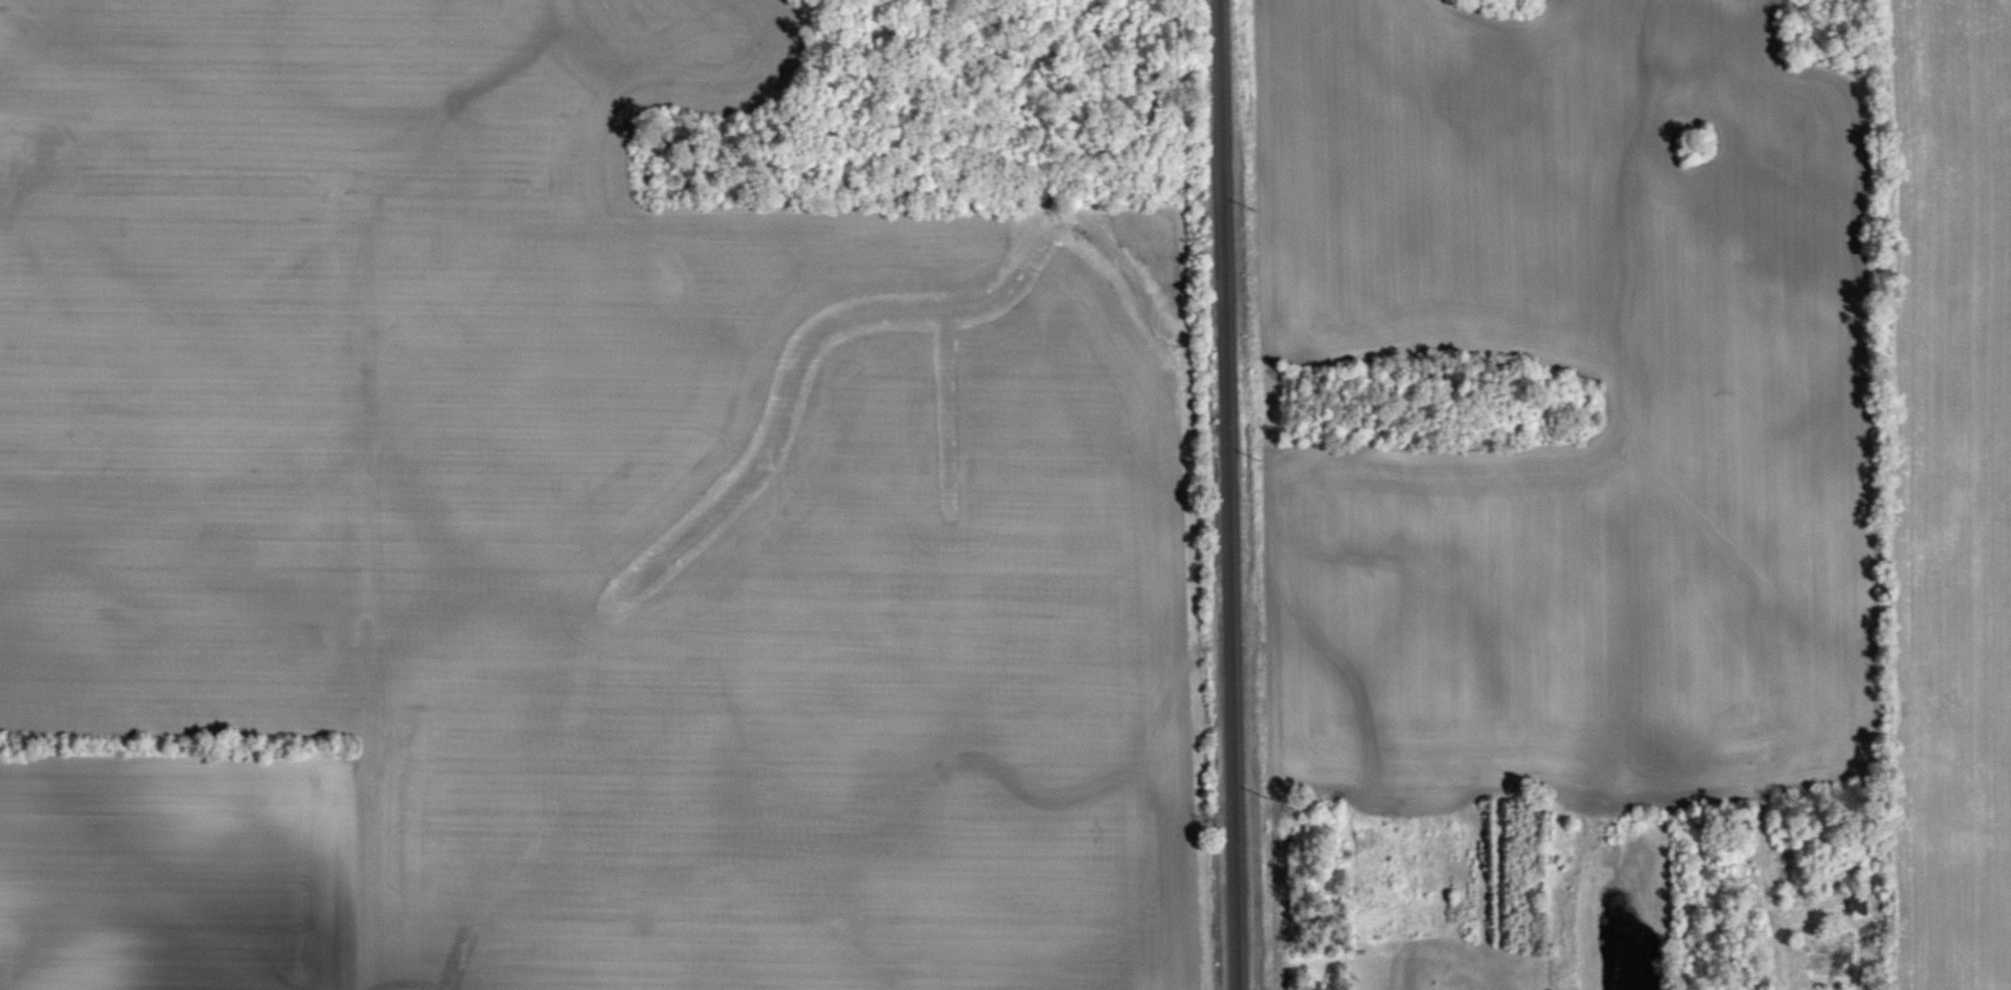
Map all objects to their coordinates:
railway: (1232, 495)
building: (1857, 906)
road: (1776, 940)
building: (1838, 956)

